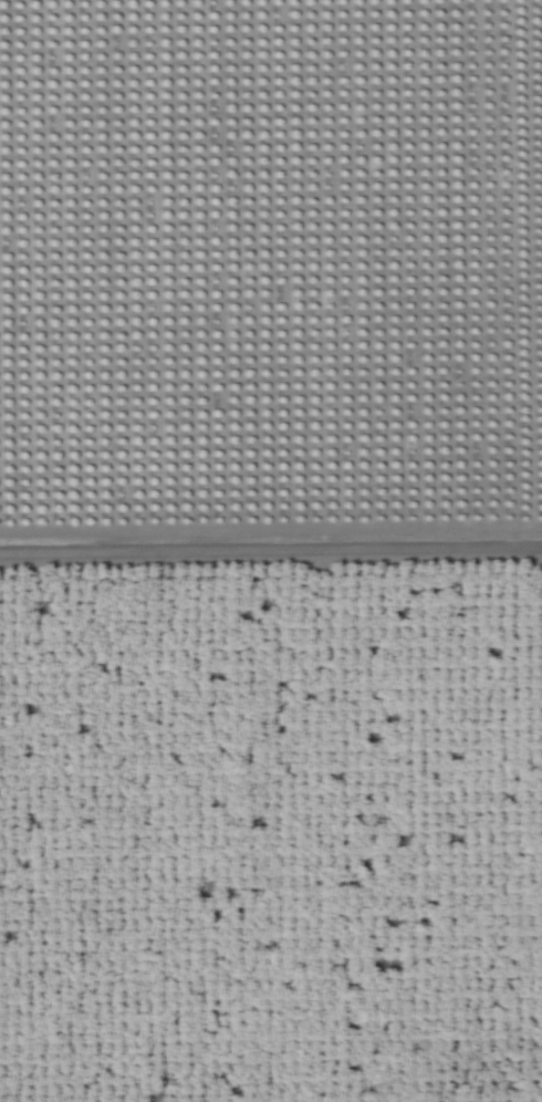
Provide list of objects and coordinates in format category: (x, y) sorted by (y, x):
crop: (271, 831)

